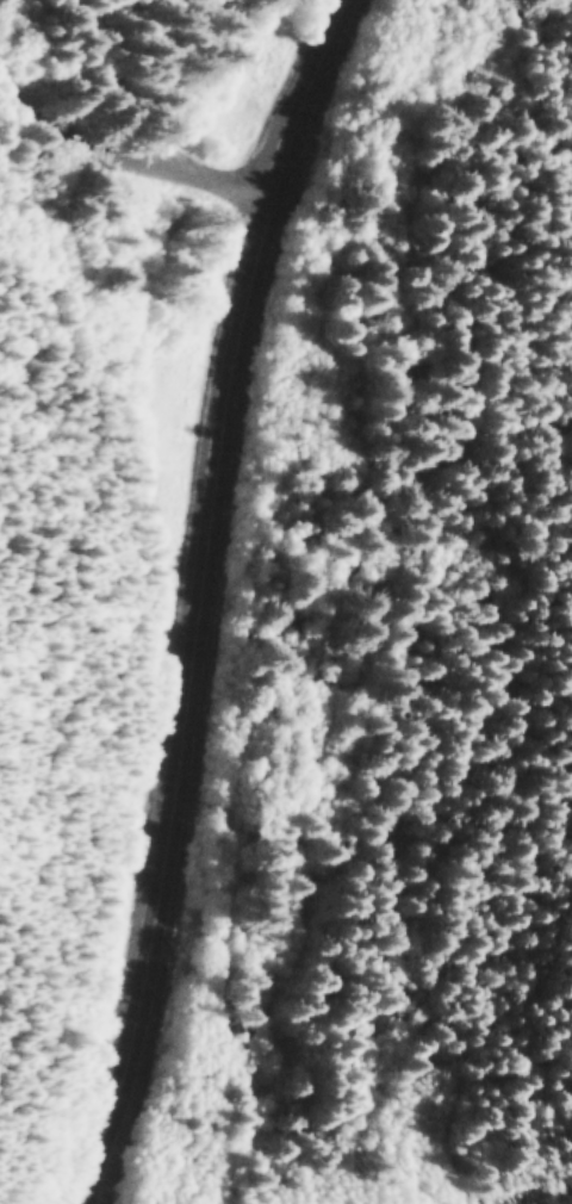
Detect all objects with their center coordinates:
road: (128, 154)
road: (205, 597)

